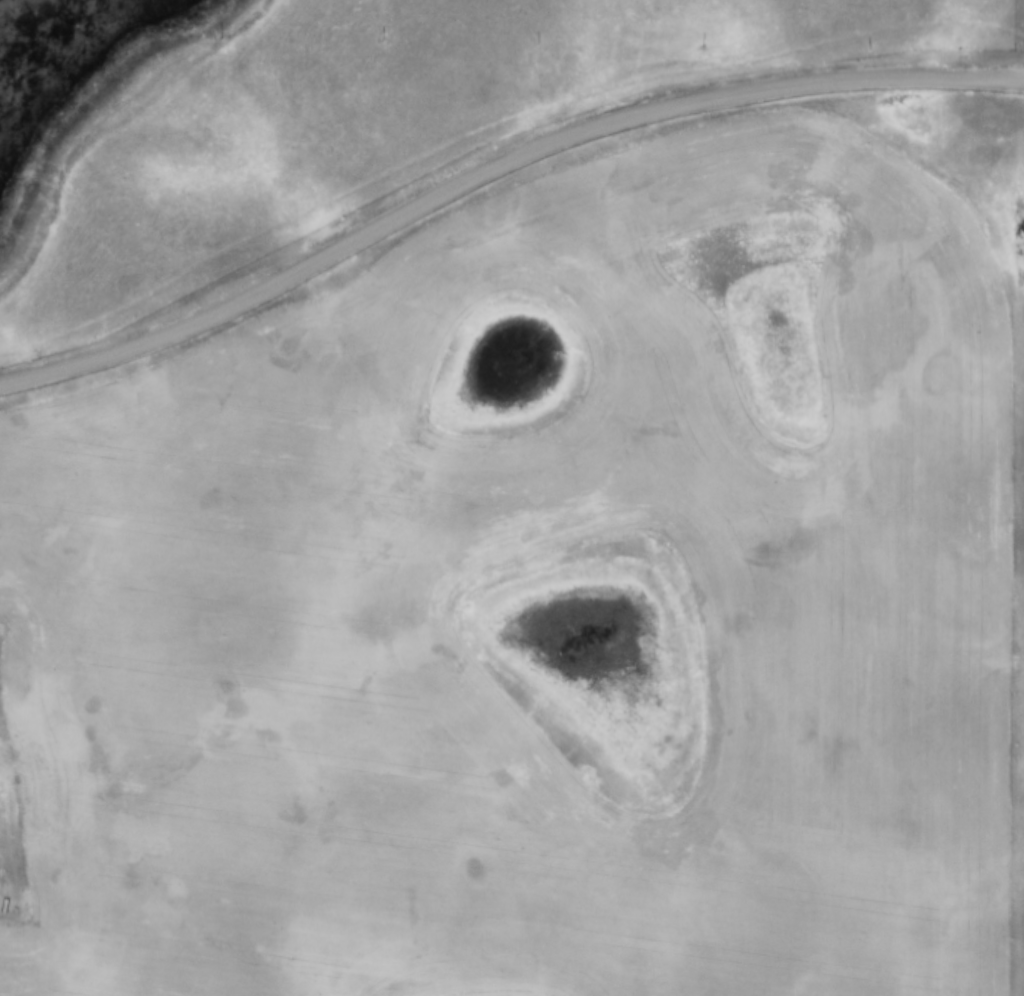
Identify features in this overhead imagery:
road: (495, 168)

